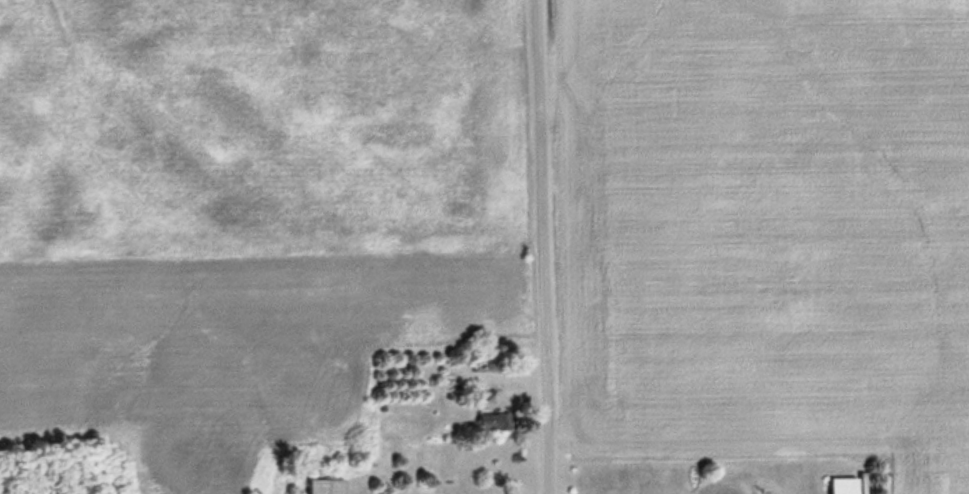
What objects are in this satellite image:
road: (545, 247)
building: (494, 419)
building: (849, 484)
building: (327, 485)

